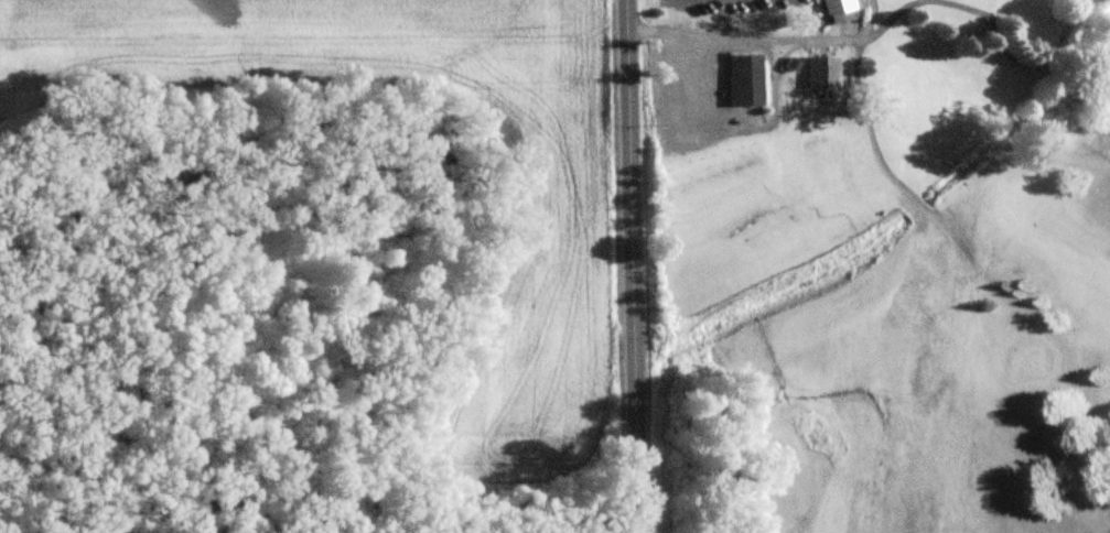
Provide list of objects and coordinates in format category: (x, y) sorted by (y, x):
building: (837, 7)
road: (692, 36)
road: (810, 39)
building: (823, 74)
building: (746, 80)
road: (631, 265)
park: (883, 265)

